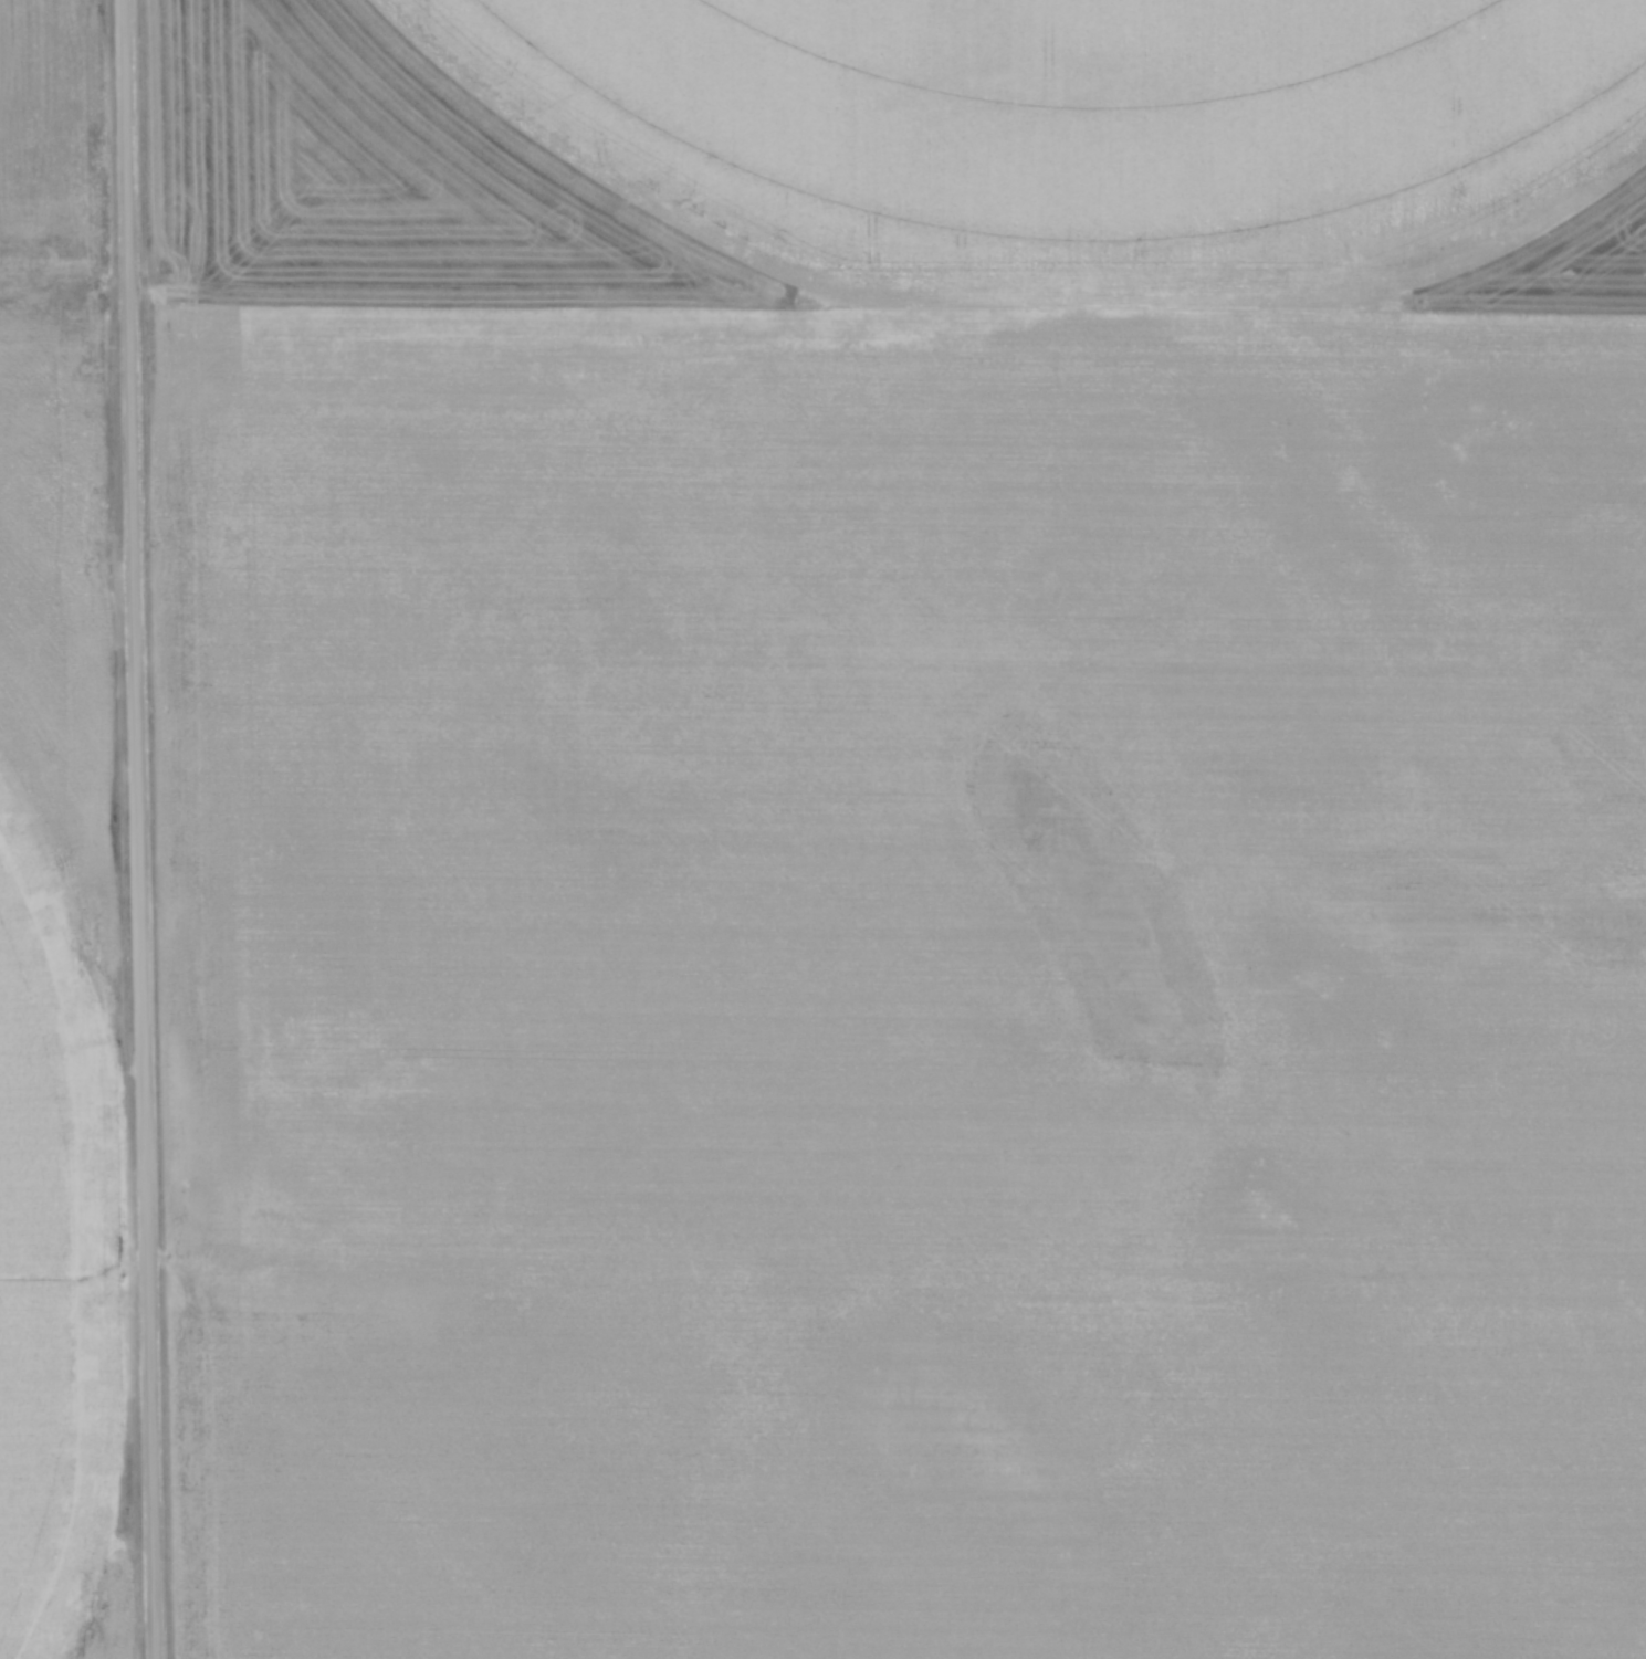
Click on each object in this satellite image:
road: (139, 829)

